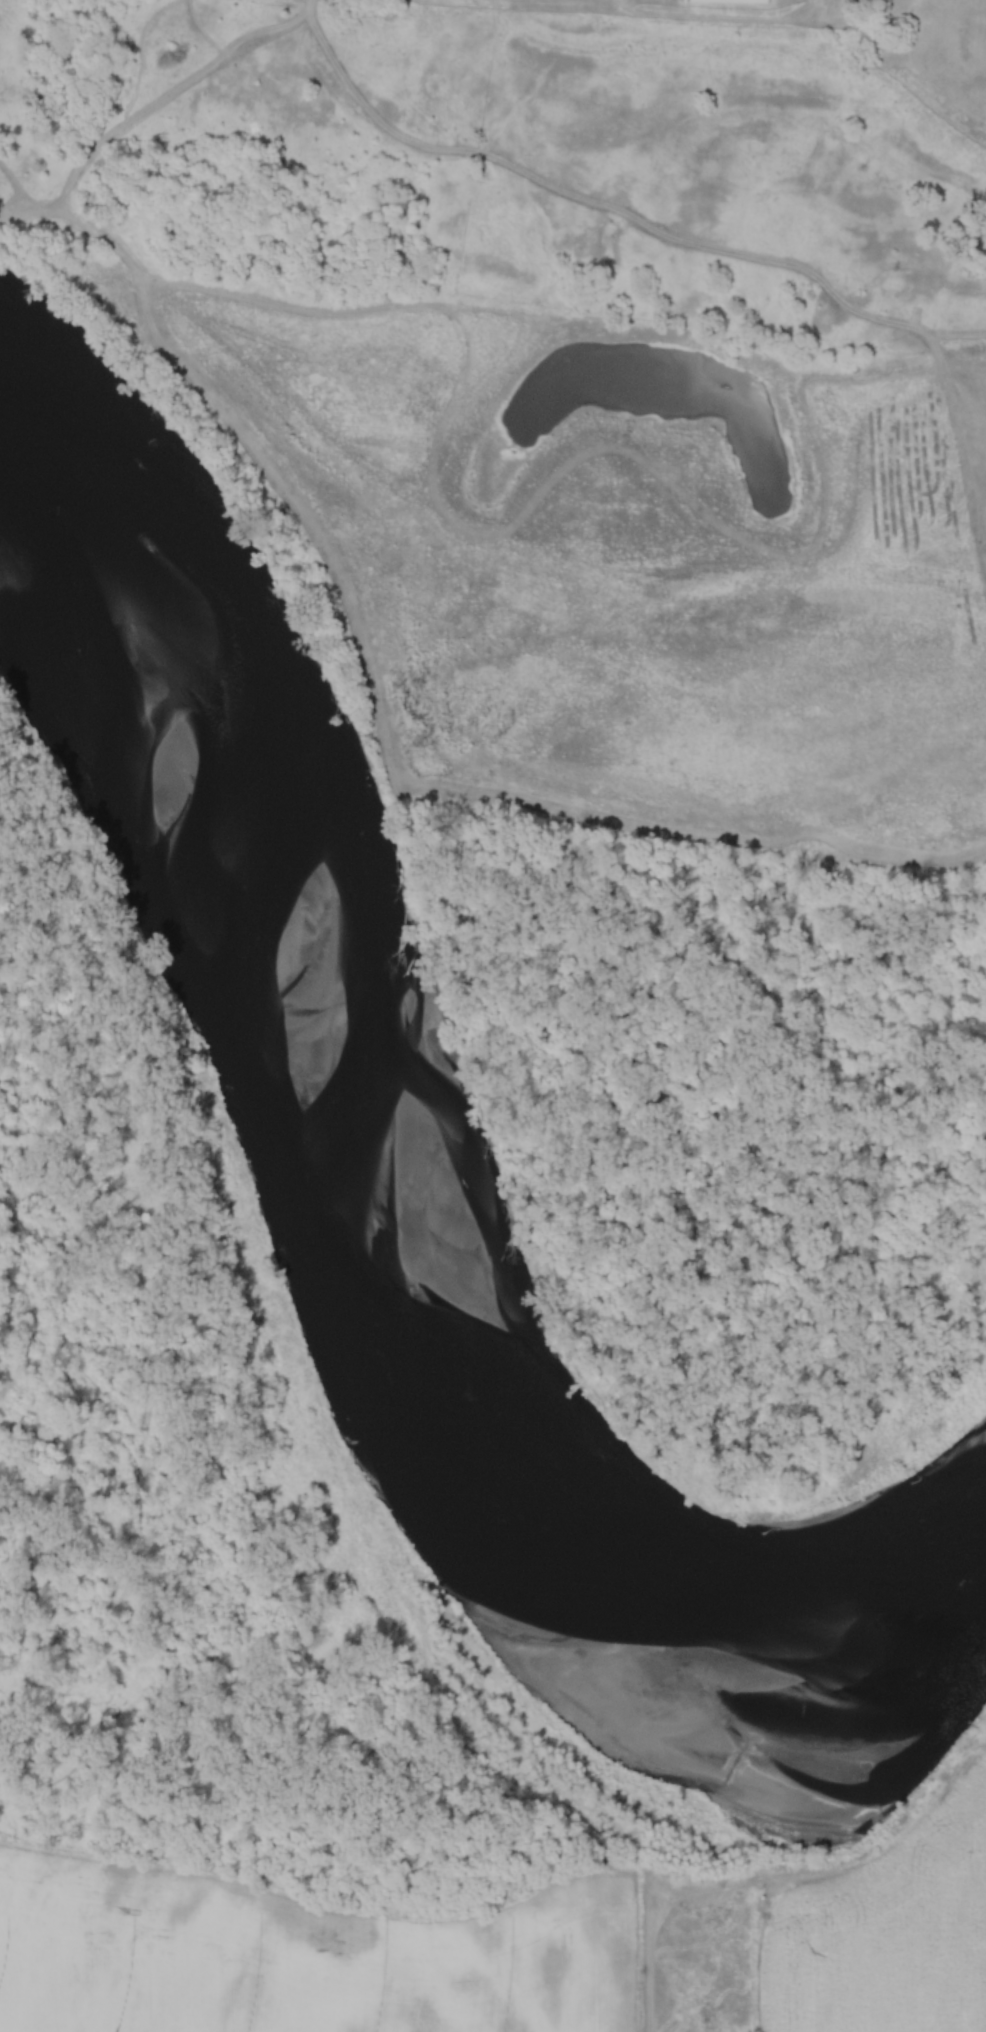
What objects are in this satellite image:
river: (383, 1218)

